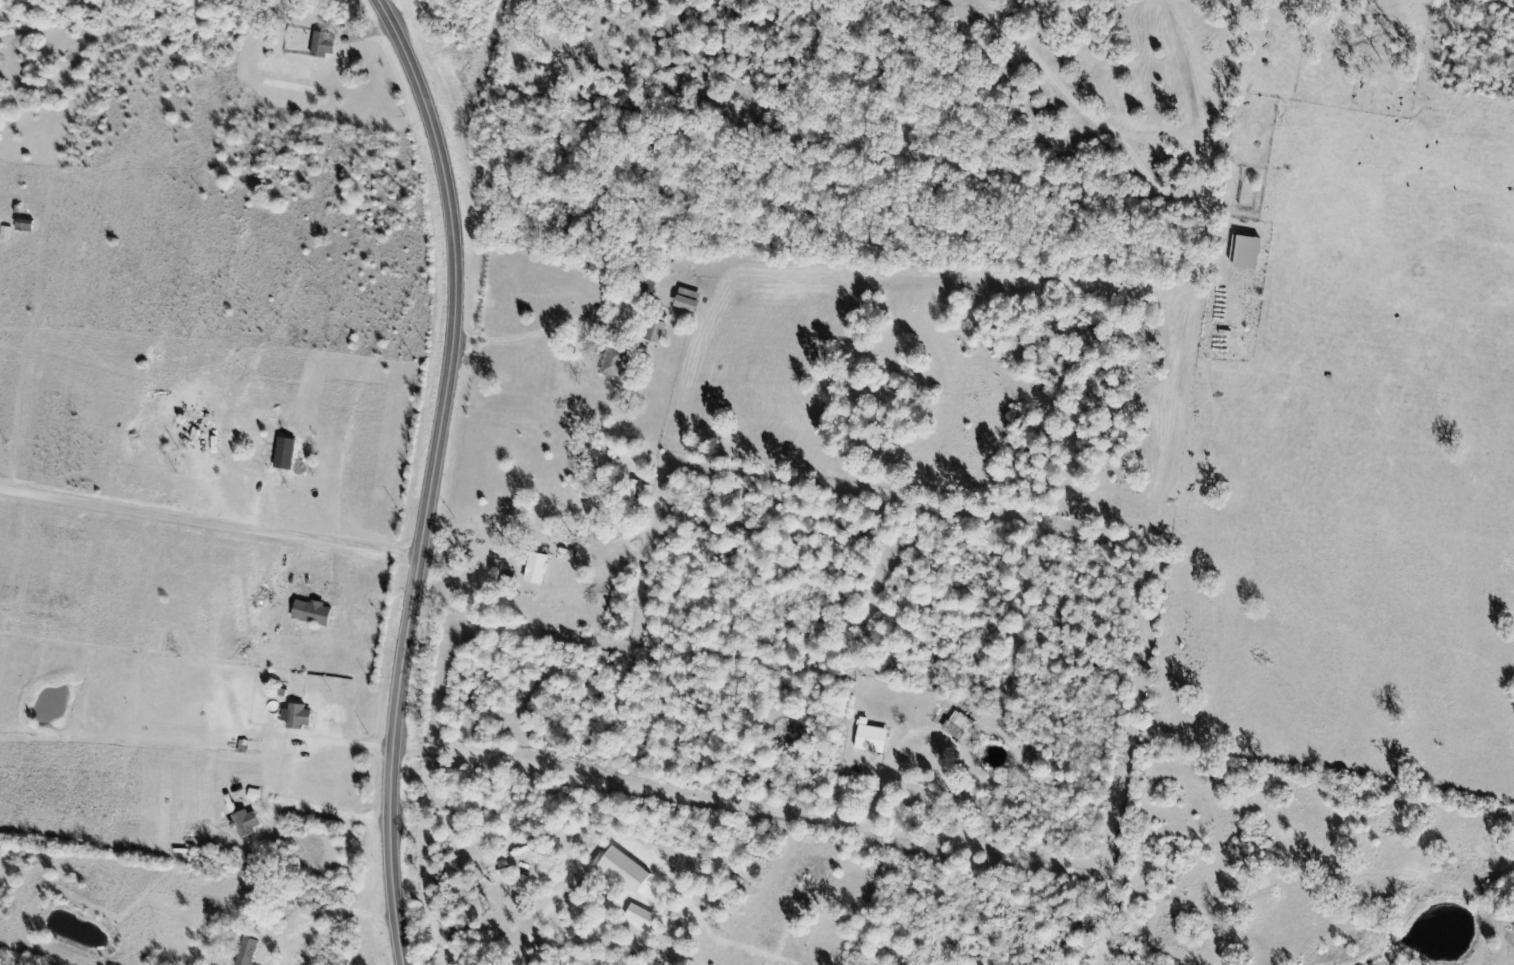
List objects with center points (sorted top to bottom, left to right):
building: (325, 46)
building: (0, 224)
building: (1249, 254)
building: (288, 454)
road: (431, 476)
road: (209, 521)
building: (539, 569)
building: (315, 613)
building: (300, 717)
building: (960, 726)
building: (873, 740)
building: (257, 796)
building: (249, 823)
building: (250, 952)

